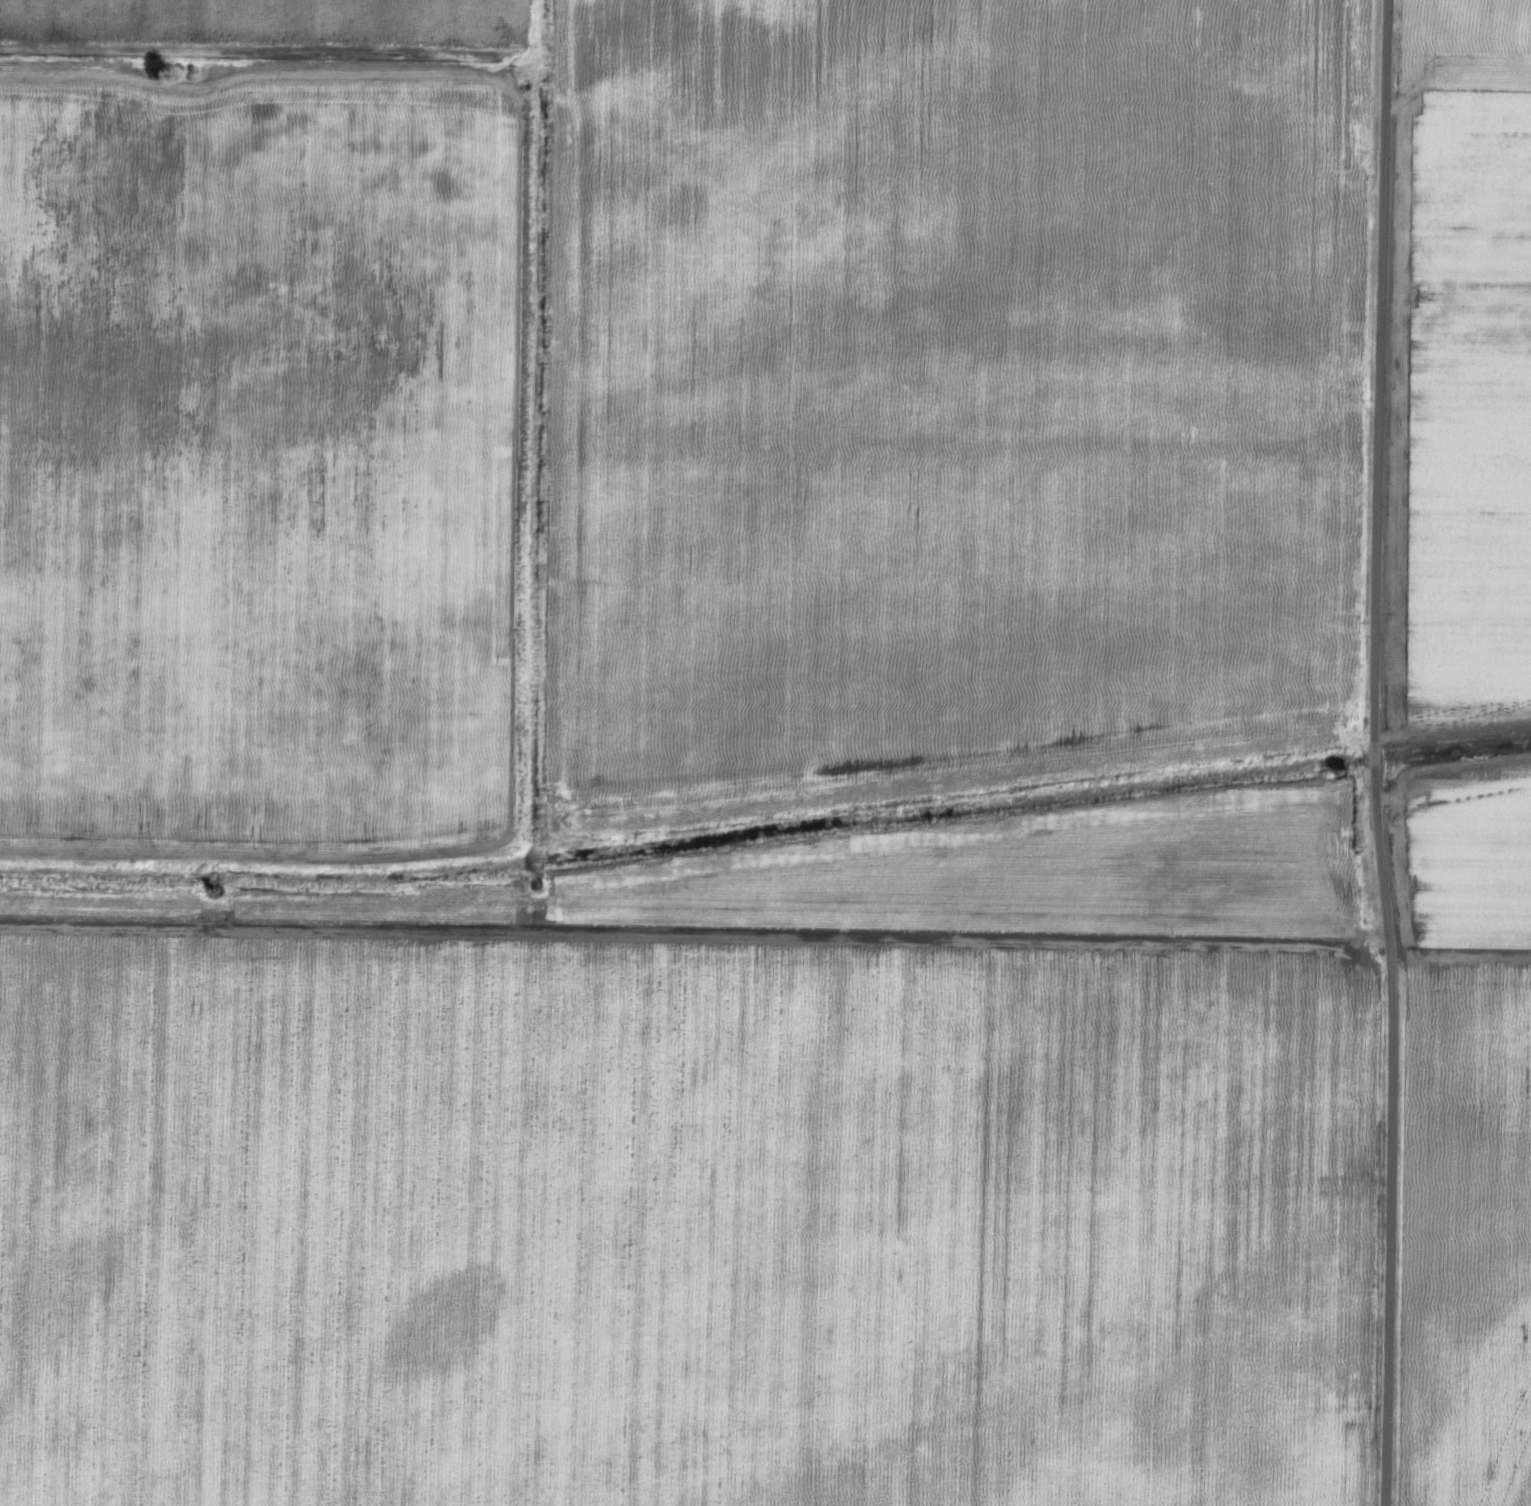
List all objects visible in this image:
road: (1371, 753)

